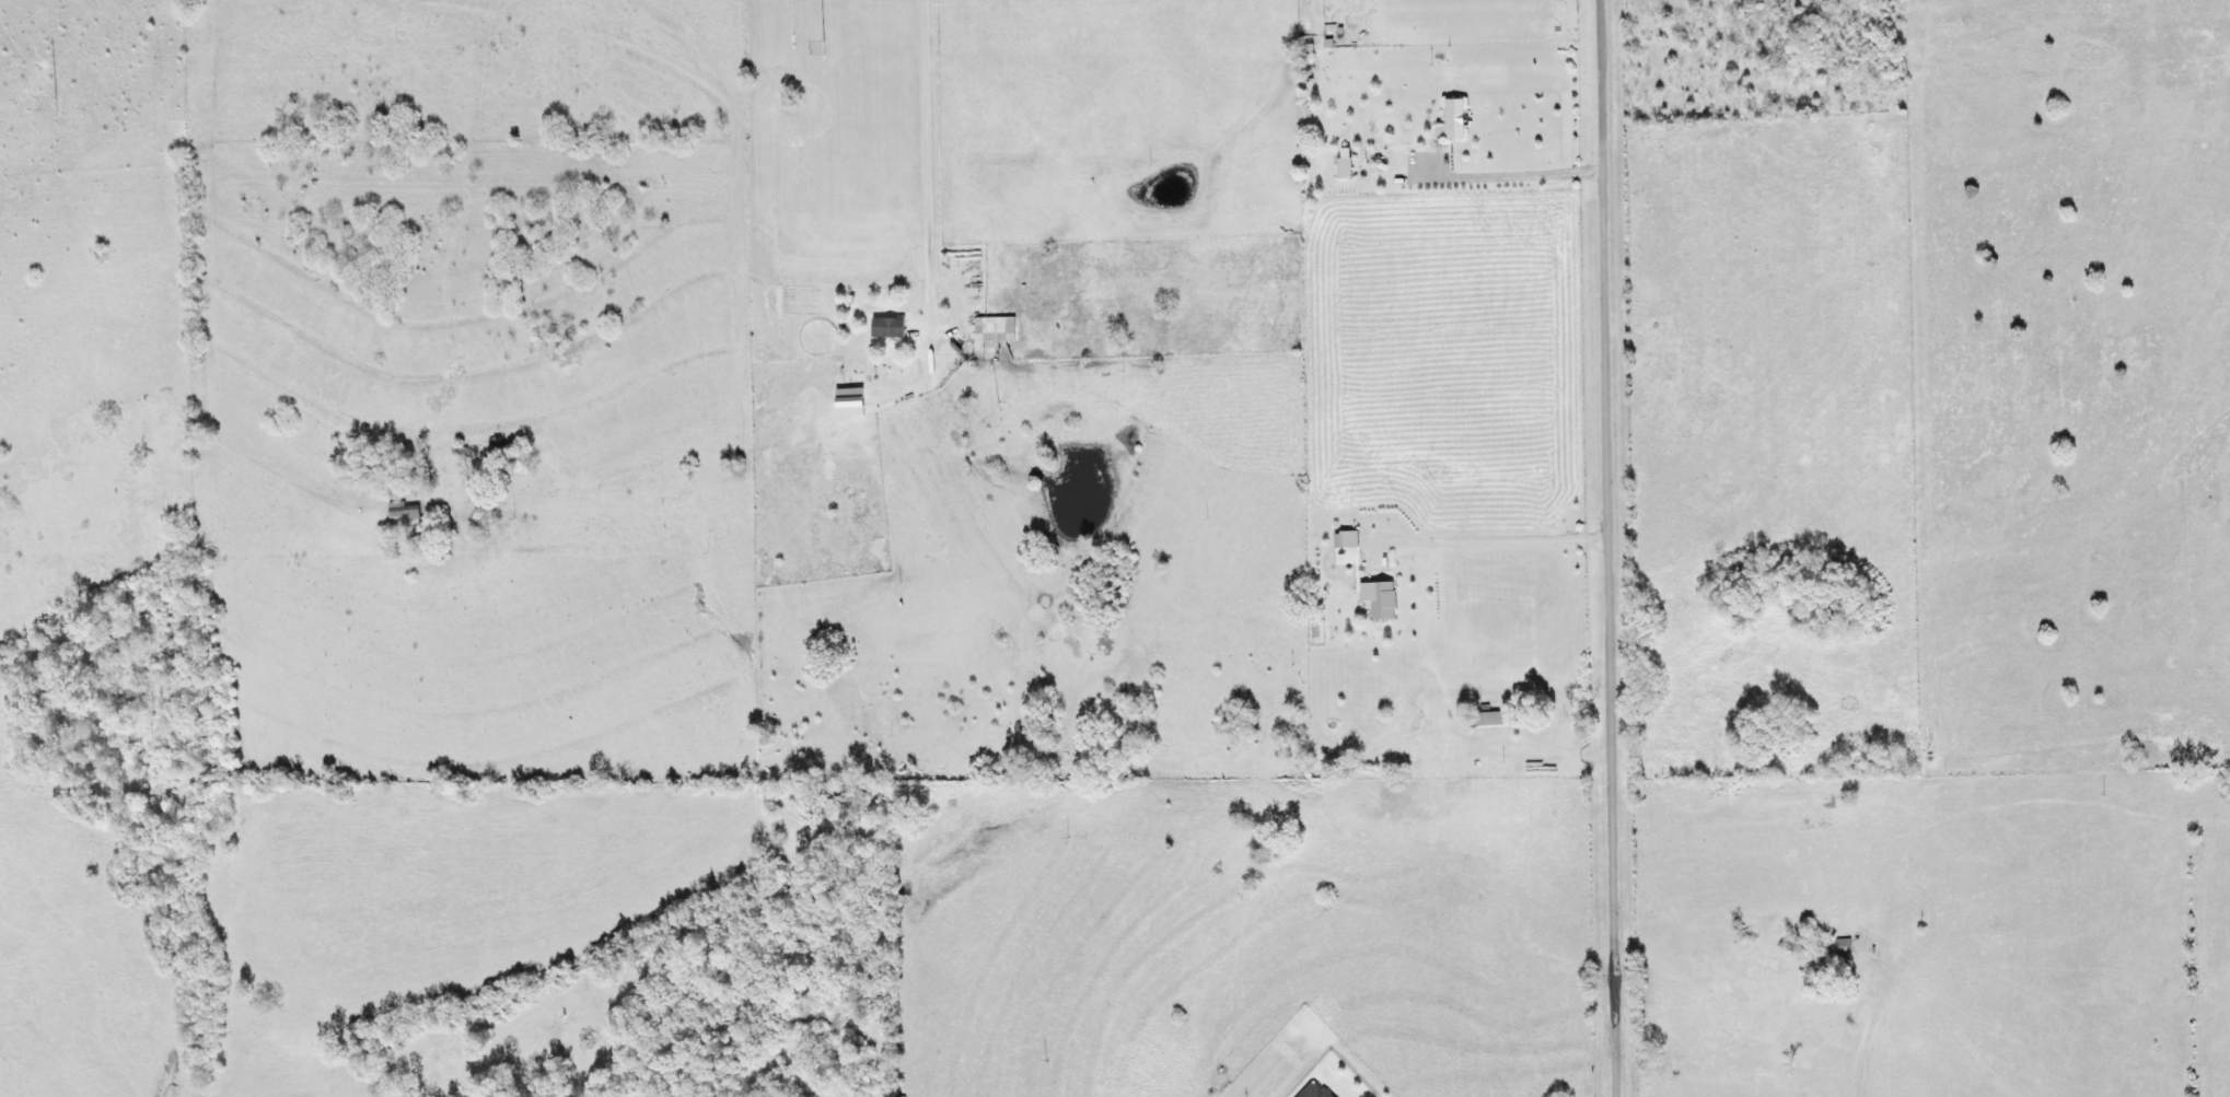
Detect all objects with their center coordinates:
power tower: (826, 47)
power tower: (57, 103)
building: (894, 327)
building: (1003, 329)
building: (503, 453)
road: (1610, 548)
building: (1477, 719)
building: (1830, 943)
building: (1302, 1092)

